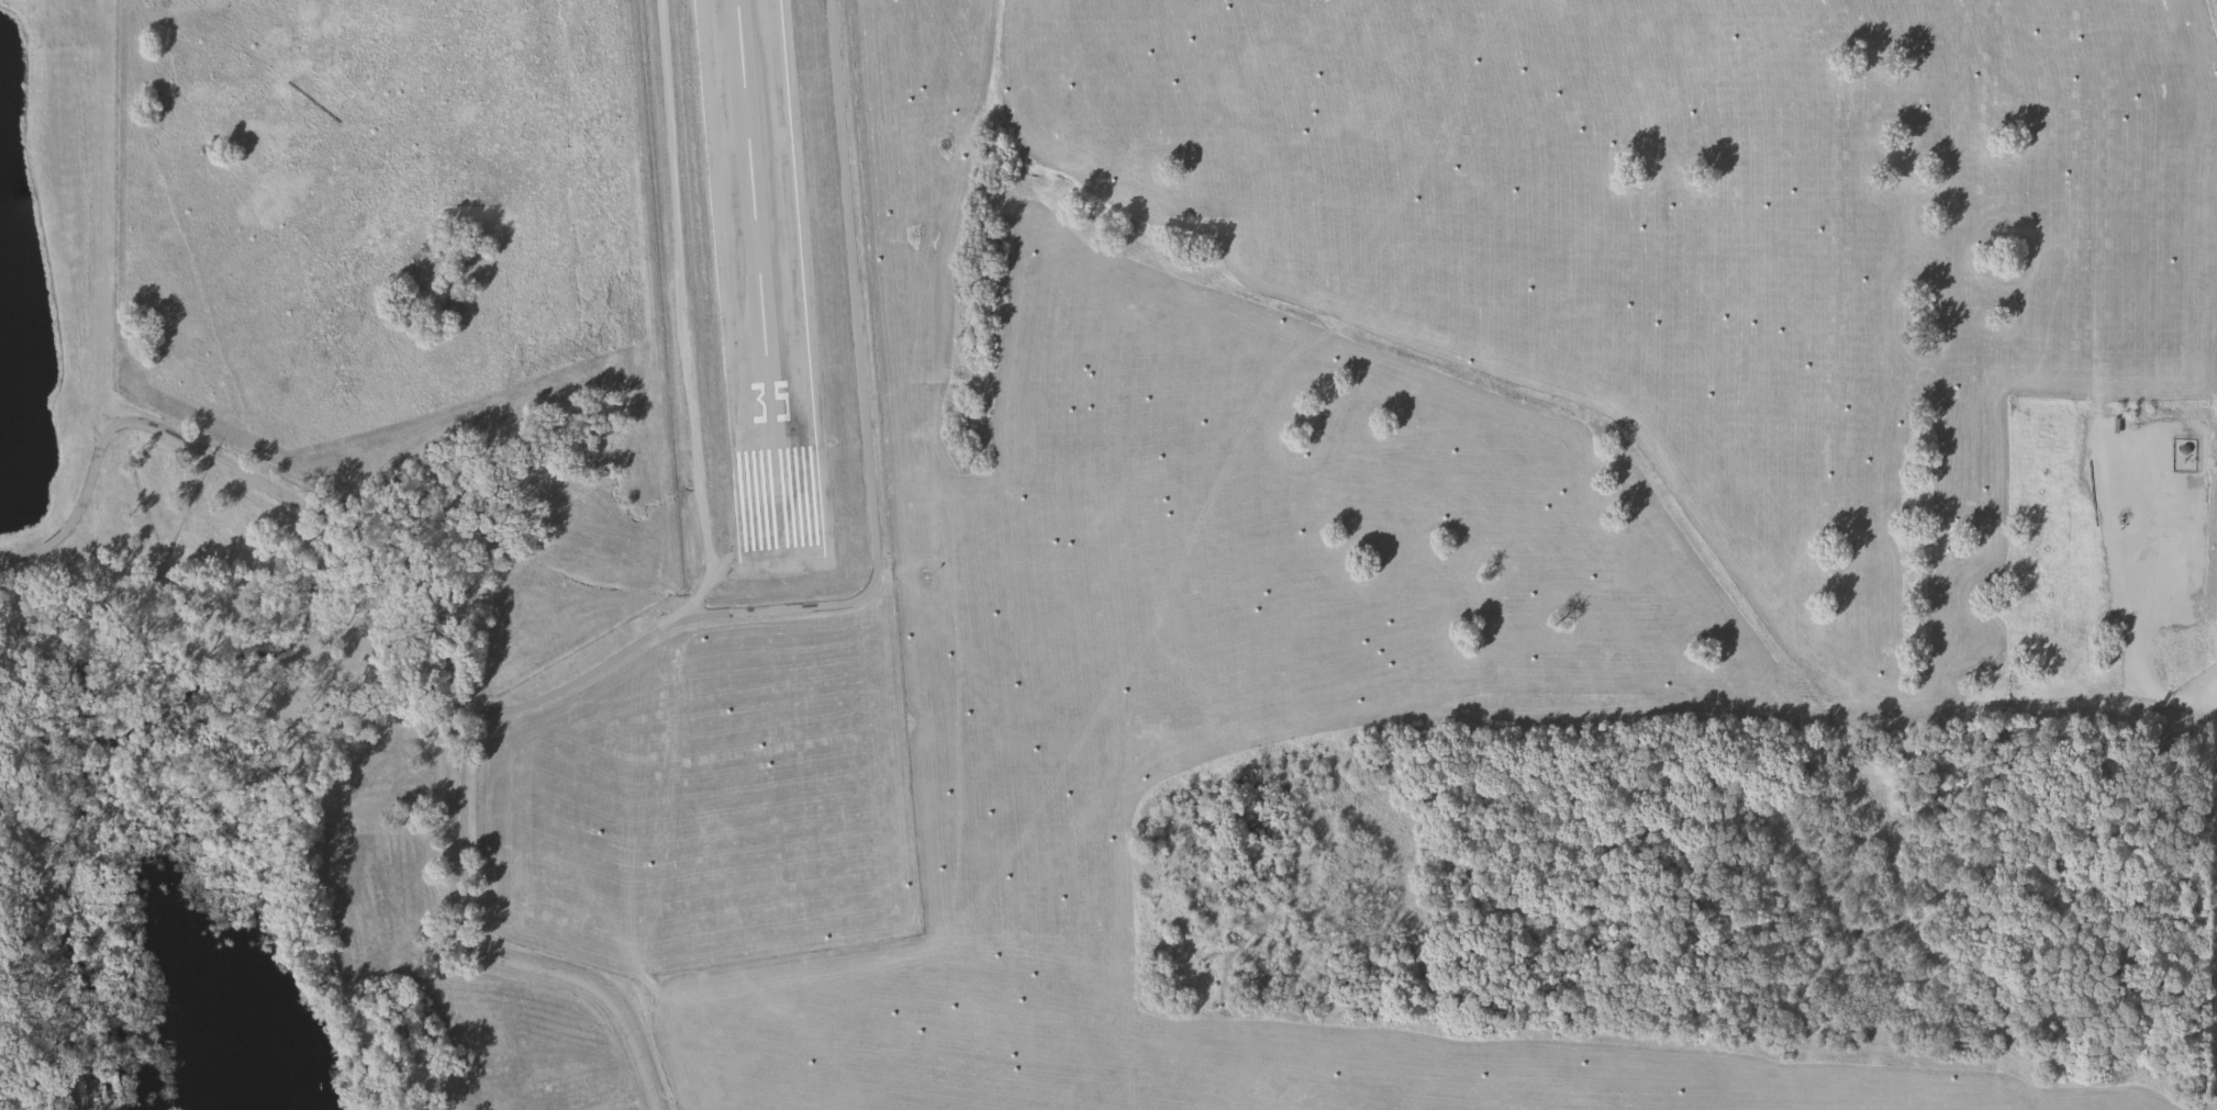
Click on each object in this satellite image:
airport runway: (766, 281)
road: (692, 440)
airport: (778, 471)
road: (445, 625)

